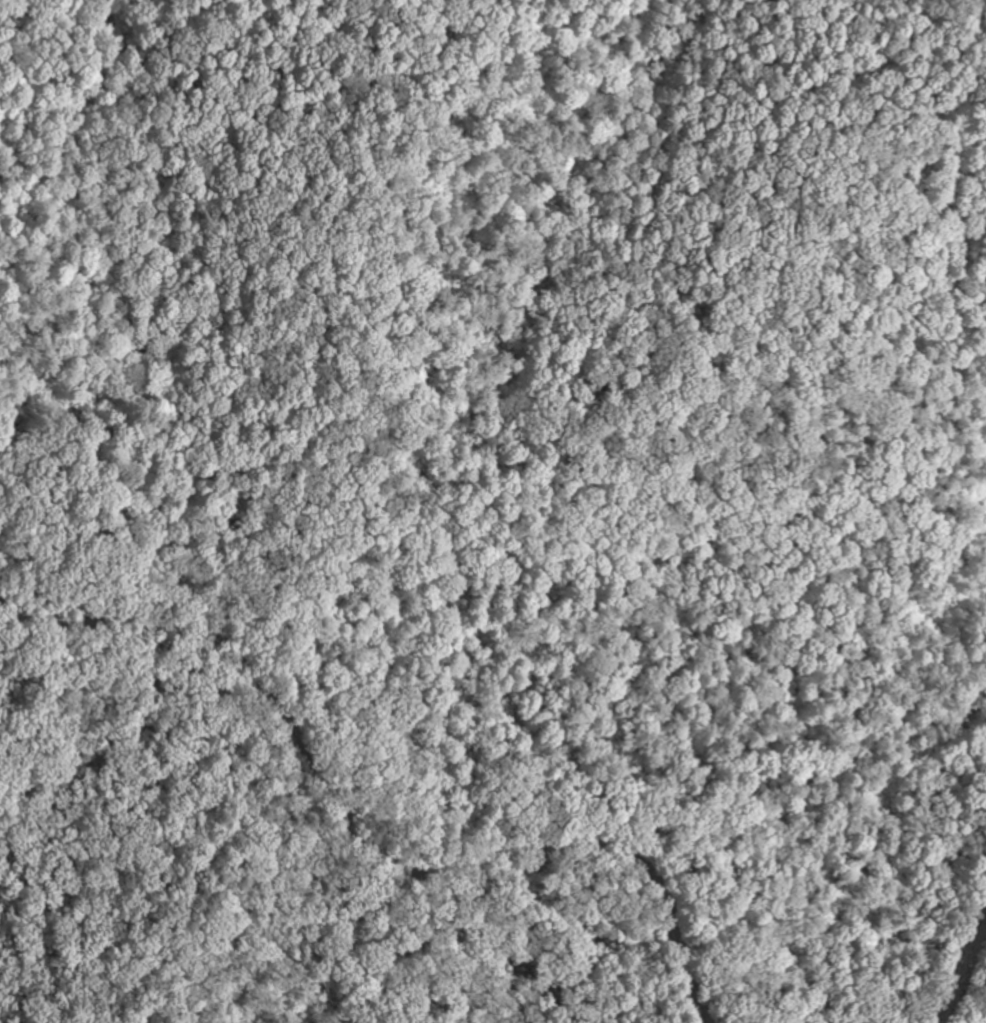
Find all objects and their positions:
road: (360, 839)
road: (399, 956)

